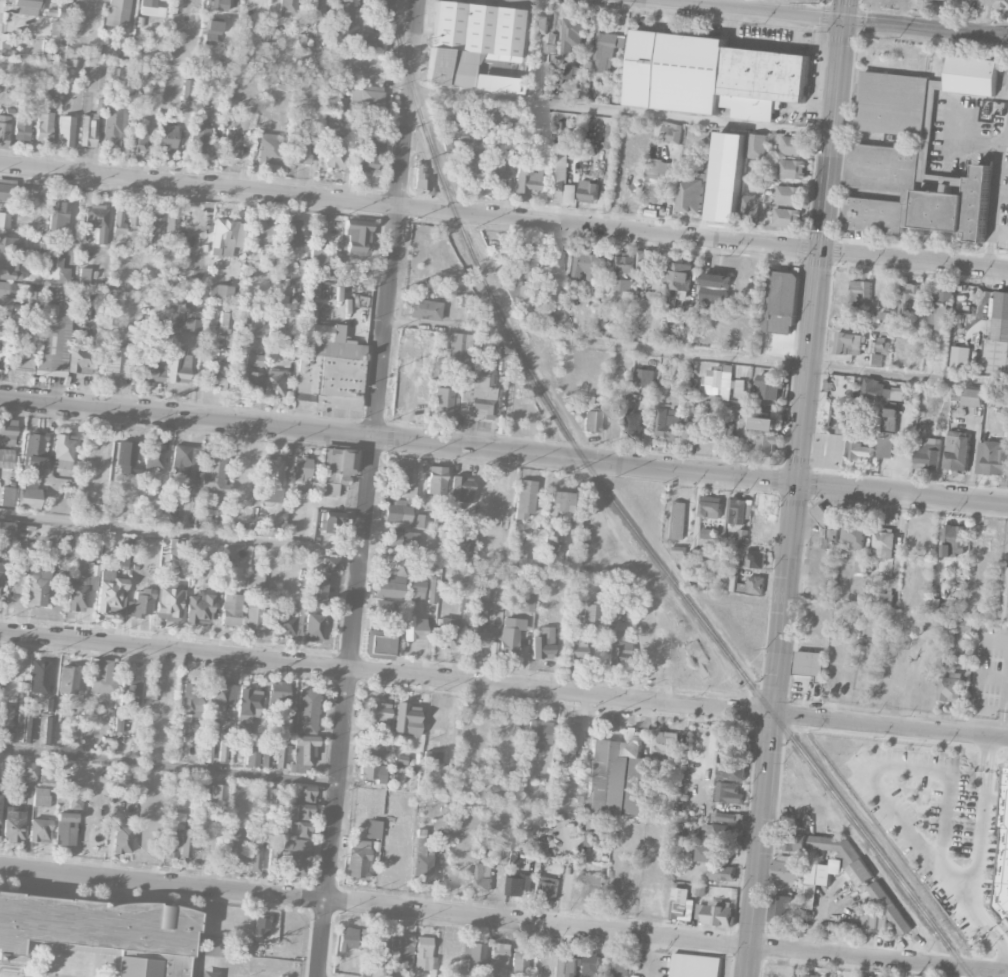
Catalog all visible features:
building: (947, 0)
building: (1000, 3)
road: (737, 4)
power tower: (820, 4)
building: (215, 5)
building: (24, 7)
building: (152, 7)
building: (288, 7)
building: (315, 9)
building: (117, 13)
road: (834, 18)
traffic signals: (843, 19)
building: (343, 20)
building: (538, 25)
building: (55, 28)
building: (572, 33)
building: (209, 39)
building: (366, 39)
road: (750, 39)
building: (473, 45)
building: (606, 50)
building: (569, 71)
building: (532, 75)
building: (712, 75)
building: (972, 75)
building: (238, 78)
building: (549, 78)
building: (187, 89)
building: (366, 96)
building: (893, 102)
road: (619, 112)
building: (113, 123)
building: (44, 125)
building: (4, 128)
building: (21, 128)
building: (88, 130)
building: (65, 131)
building: (671, 131)
building: (610, 135)
building: (167, 137)
building: (444, 137)
building: (136, 141)
building: (199, 141)
building: (335, 141)
road: (962, 141)
building: (236, 143)
building: (756, 145)
building: (793, 145)
building: (269, 148)
building: (298, 148)
building: (367, 155)
road: (728, 158)
building: (468, 165)
road: (1002, 167)
building: (791, 168)
building: (496, 169)
building: (658, 177)
building: (421, 178)
building: (523, 178)
building: (560, 180)
building: (10, 190)
building: (588, 190)
building: (690, 194)
building: (789, 194)
building: (910, 194)
road: (993, 196)
building: (749, 208)
building: (57, 216)
road: (504, 216)
building: (786, 217)
building: (4, 220)
building: (97, 220)
building: (132, 220)
building: (171, 223)
building: (118, 225)
building: (156, 226)
road: (999, 230)
building: (261, 233)
building: (291, 233)
building: (356, 236)
building: (224, 237)
building: (22, 246)
traffic signals: (819, 251)
building: (323, 260)
building: (550, 260)
building: (644, 262)
building: (587, 264)
road: (697, 264)
building: (9, 269)
building: (56, 271)
building: (122, 271)
building: (624, 271)
building: (680, 275)
building: (83, 276)
building: (528, 276)
building: (297, 280)
building: (715, 288)
building: (219, 292)
building: (517, 292)
building: (860, 292)
building: (595, 295)
building: (311, 297)
building: (908, 298)
building: (279, 300)
building: (780, 301)
building: (939, 305)
building: (79, 309)
building: (424, 309)
building: (194, 310)
building: (886, 314)
building: (672, 315)
building: (224, 320)
building: (240, 323)
building: (601, 323)
building: (171, 324)
building: (190, 325)
building: (161, 326)
building: (256, 327)
building: (275, 327)
road: (438, 329)
building: (920, 329)
building: (316, 331)
building: (998, 334)
building: (52, 340)
building: (848, 342)
building: (871, 343)
building: (881, 343)
building: (491, 345)
building: (458, 351)
building: (959, 357)
building: (876, 359)
building: (79, 360)
building: (255, 360)
building: (21, 361)
road: (771, 361)
building: (114, 362)
building: (148, 366)
building: (178, 367)
building: (215, 376)
building: (645, 376)
building: (252, 382)
building: (274, 382)
building: (720, 383)
building: (770, 385)
building: (875, 389)
building: (477, 391)
building: (677, 392)
building: (957, 393)
building: (974, 396)
building: (588, 398)
building: (1004, 398)
building: (442, 402)
building: (592, 421)
building: (634, 423)
building: (767, 423)
building: (667, 425)
building: (695, 430)
building: (7, 432)
building: (888, 432)
building: (726, 437)
building: (755, 443)
building: (769, 443)
building: (832, 448)
building: (34, 449)
building: (862, 450)
building: (958, 450)
building: (62, 451)
road: (504, 451)
building: (928, 452)
building: (96, 453)
building: (153, 456)
building: (6, 458)
building: (126, 458)
building: (995, 458)
building: (185, 460)
building: (338, 466)
building: (300, 469)
building: (214, 474)
building: (270, 479)
building: (435, 480)
traffic signals: (796, 483)
road: (369, 488)
road: (795, 488)
building: (461, 489)
building: (409, 495)
building: (7, 496)
building: (28, 498)
building: (524, 498)
building: (88, 503)
building: (559, 506)
building: (710, 506)
building: (766, 506)
building: (204, 510)
building: (737, 510)
railway: (622, 513)
building: (824, 514)
building: (676, 519)
building: (421, 521)
building: (331, 522)
building: (5, 529)
building: (707, 533)
road: (181, 534)
building: (854, 534)
building: (742, 535)
building: (549, 538)
building: (400, 540)
building: (955, 540)
building: (65, 542)
building: (885, 542)
building: (466, 545)
building: (173, 546)
building: (678, 553)
building: (753, 559)
building: (123, 560)
building: (330, 565)
building: (860, 567)
building: (392, 578)
building: (256, 579)
building: (748, 584)
building: (36, 587)
building: (417, 590)
building: (432, 591)
building: (79, 592)
building: (480, 592)
building: (111, 593)
building: (315, 593)
building: (1003, 596)
building: (886, 598)
building: (169, 602)
building: (140, 603)
building: (524, 603)
building: (938, 605)
building: (385, 607)
building: (199, 608)
building: (231, 609)
building: (591, 613)
building: (254, 617)
building: (287, 618)
building: (965, 625)
building: (313, 627)
building: (414, 628)
building: (447, 633)
building: (478, 635)
building: (510, 635)
building: (542, 643)
building: (377, 644)
building: (575, 648)
building: (619, 648)
building: (809, 664)
building: (103, 676)
building: (38, 677)
building: (68, 679)
road: (503, 686)
building: (950, 686)
building: (130, 691)
building: (223, 693)
building: (281, 693)
building: (192, 700)
building: (50, 706)
building: (248, 708)
building: (307, 711)
building: (376, 712)
building: (6, 718)
building: (406, 718)
building: (23, 731)
building: (48, 734)
building: (538, 735)
building: (567, 735)
building: (729, 738)
road: (987, 744)
building: (666, 745)
building: (223, 747)
building: (372, 747)
building: (303, 753)
building: (252, 755)
building: (265, 755)
building: (282, 756)
building: (432, 759)
road: (169, 768)
building: (28, 771)
building: (731, 771)
road: (875, 771)
building: (373, 772)
building: (618, 775)
building: (728, 791)
building: (201, 792)
building: (306, 793)
building: (218, 794)
building: (41, 797)
building: (275, 797)
building: (75, 803)
building: (304, 811)
building: (727, 816)
building: (13, 824)
building: (63, 826)
building: (302, 829)
building: (374, 829)
building: (40, 830)
building: (596, 830)
building: (720, 832)
building: (122, 839)
building: (794, 841)
road: (977, 843)
building: (175, 845)
building: (233, 846)
building: (713, 853)
building: (292, 855)
building: (254, 858)
building: (358, 859)
building: (421, 859)
building: (271, 865)
building: (787, 868)
building: (823, 871)
building: (722, 872)
building: (861, 874)
building: (484, 877)
building: (520, 885)
building: (1006, 885)
building: (593, 887)
building: (549, 888)
road: (567, 892)
building: (680, 904)
building: (780, 907)
building: (718, 914)
road: (482, 917)
building: (873, 920)
road: (819, 925)
building: (260, 926)
building: (100, 932)
building: (348, 939)
road: (1001, 947)
building: (375, 954)
building: (401, 954)
building: (423, 955)
building: (474, 958)
building: (497, 959)
building: (519, 959)
parking lot: (651, 963)
building: (591, 964)
building: (567, 965)
building: (695, 965)
building: (620, 967)
road: (986, 969)
railway: (968, 972)
building: (806, 975)

